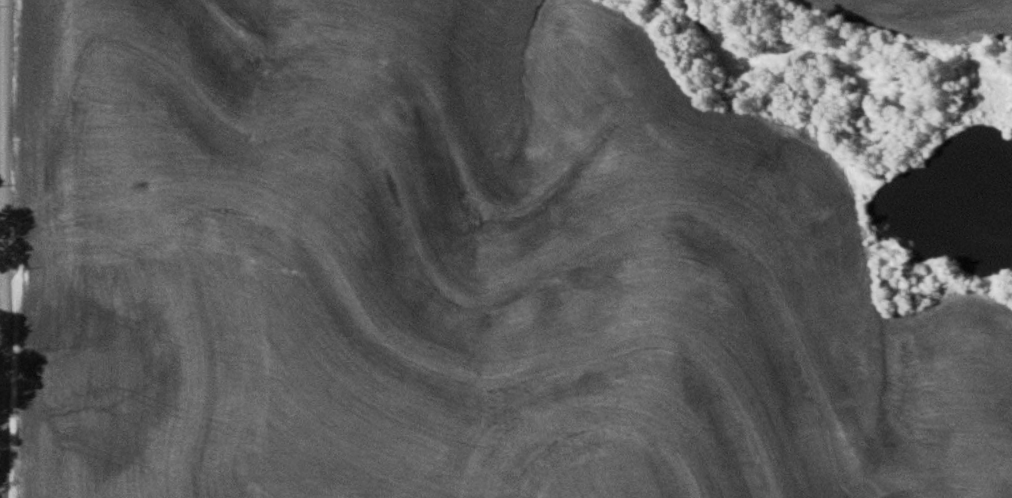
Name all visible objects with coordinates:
road: (2, 162)
building: (152, 214)

